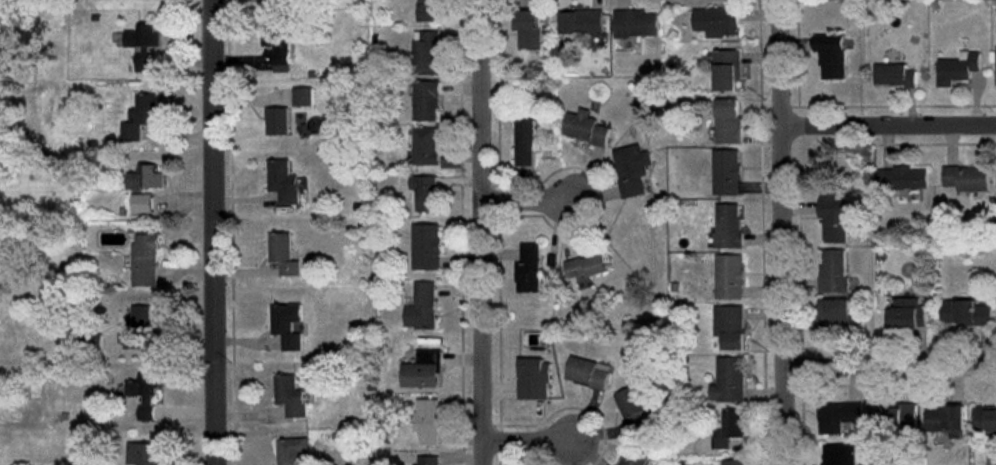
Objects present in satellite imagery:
building: (429, 10)
building: (717, 21)
building: (581, 22)
building: (636, 23)
building: (529, 28)
building: (143, 36)
building: (277, 44)
building: (426, 52)
building: (831, 55)
building: (142, 60)
building: (958, 67)
building: (727, 69)
building: (894, 75)
building: (303, 96)
building: (424, 100)
building: (140, 116)
building: (277, 120)
building: (728, 121)
road: (888, 123)
building: (586, 127)
building: (527, 141)
building: (425, 146)
building: (632, 169)
building: (727, 172)
building: (146, 177)
building: (967, 177)
building: (903, 178)
building: (283, 181)
building: (425, 193)
road: (527, 202)
building: (142, 203)
building: (833, 216)
building: (728, 225)
road: (211, 232)
road: (480, 232)
road: (781, 232)
building: (426, 247)
building: (283, 253)
building: (145, 260)
building: (589, 265)
building: (529, 268)
building: (833, 271)
building: (729, 276)
building: (422, 307)
building: (966, 312)
building: (907, 313)
building: (287, 325)
building: (730, 326)
building: (138, 327)
road: (890, 362)
building: (423, 370)
building: (589, 372)
building: (534, 378)
building: (729, 380)
building: (145, 394)
building: (290, 396)
building: (633, 409)
building: (838, 416)
building: (899, 417)
building: (946, 418)
building: (985, 419)
building: (428, 421)
building: (730, 429)
road: (530, 443)
building: (291, 450)
building: (143, 453)
building: (840, 454)
building: (636, 457)
building: (428, 460)
building: (734, 462)

